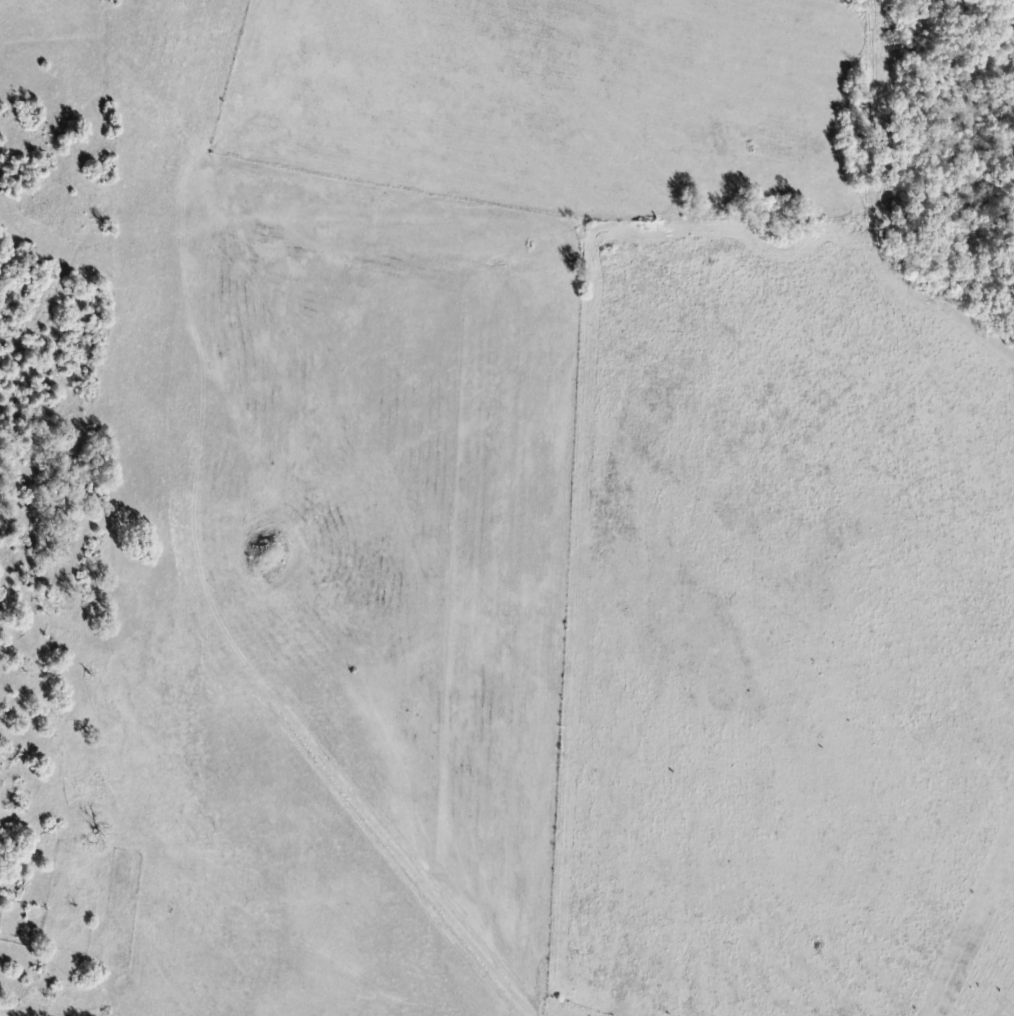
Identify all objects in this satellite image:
road: (432, 480)
road: (156, 953)

